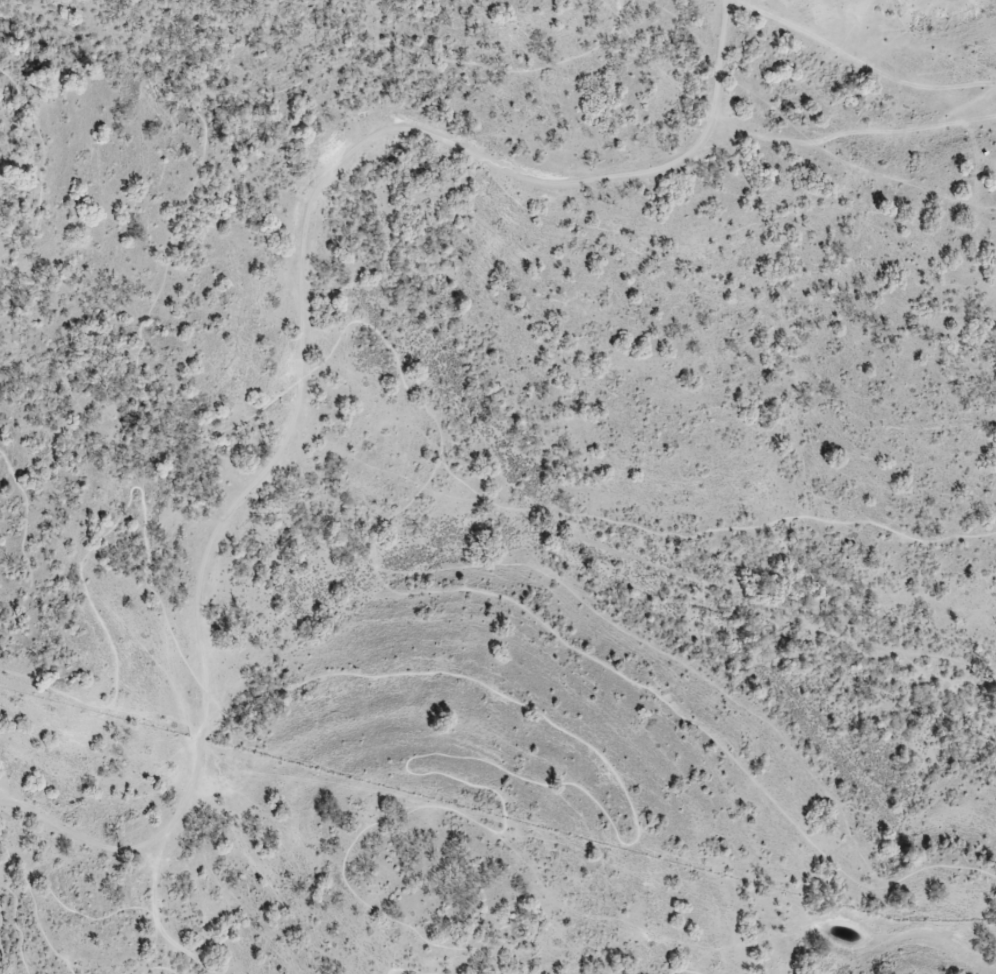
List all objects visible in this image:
road: (854, 58)
road: (199, 108)
road: (856, 136)
road: (5, 153)
road: (40, 166)
road: (302, 330)
road: (570, 531)
road: (97, 539)
road: (20, 541)
road: (556, 582)
road: (520, 779)
road: (40, 878)
road: (1, 915)
road: (15, 926)
road: (179, 946)
road: (1, 960)
road: (158, 968)
road: (412, 971)
road: (681, 972)

